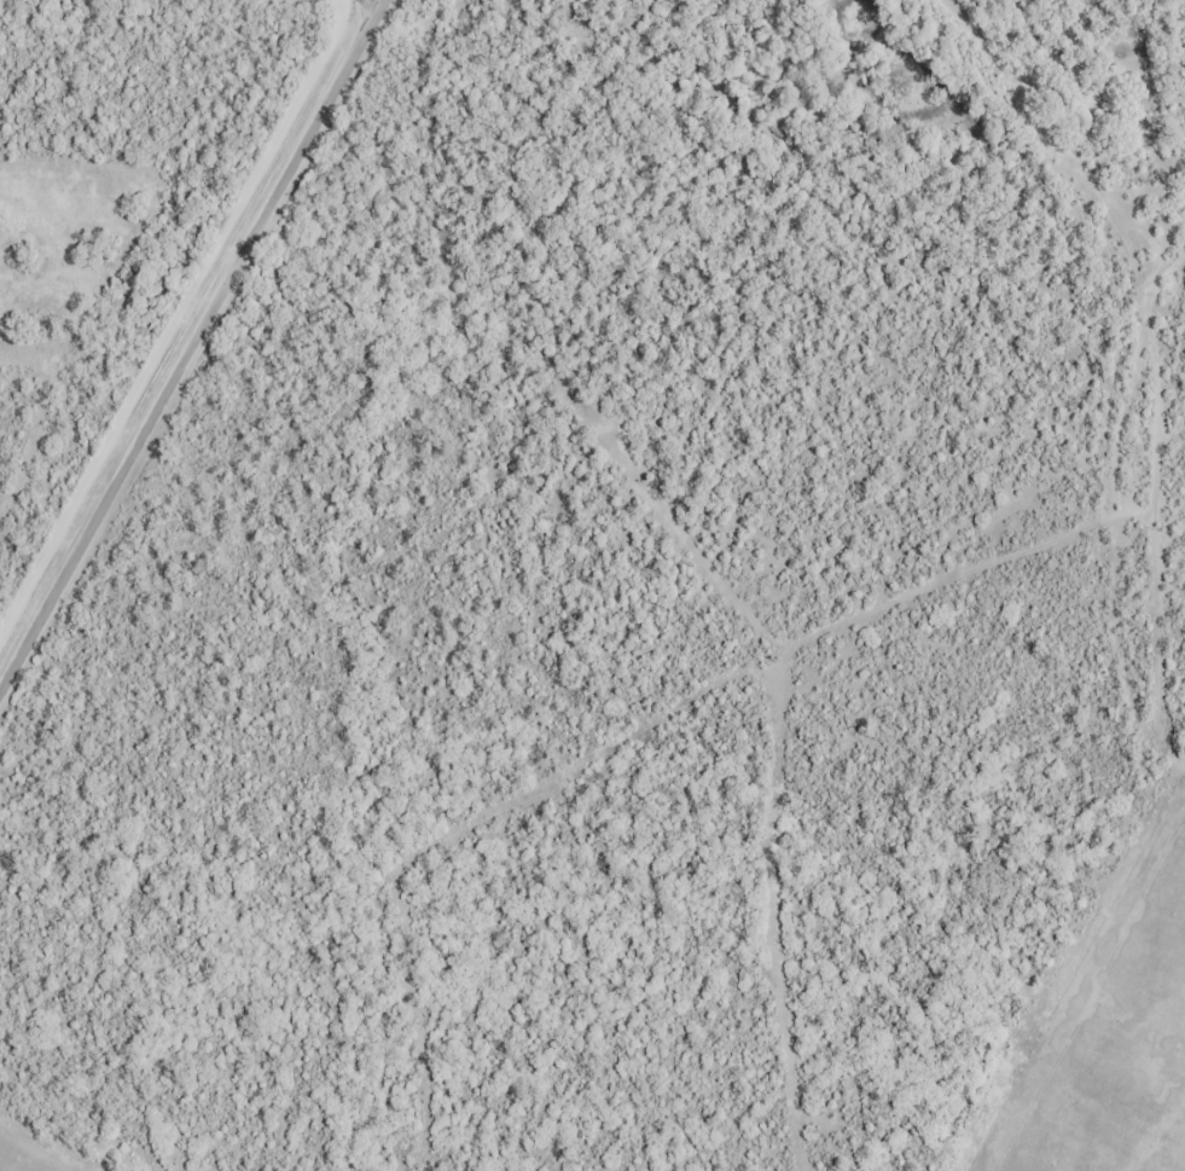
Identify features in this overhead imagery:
road: (370, 5)
road: (710, 36)
road: (176, 320)
road: (190, 344)

